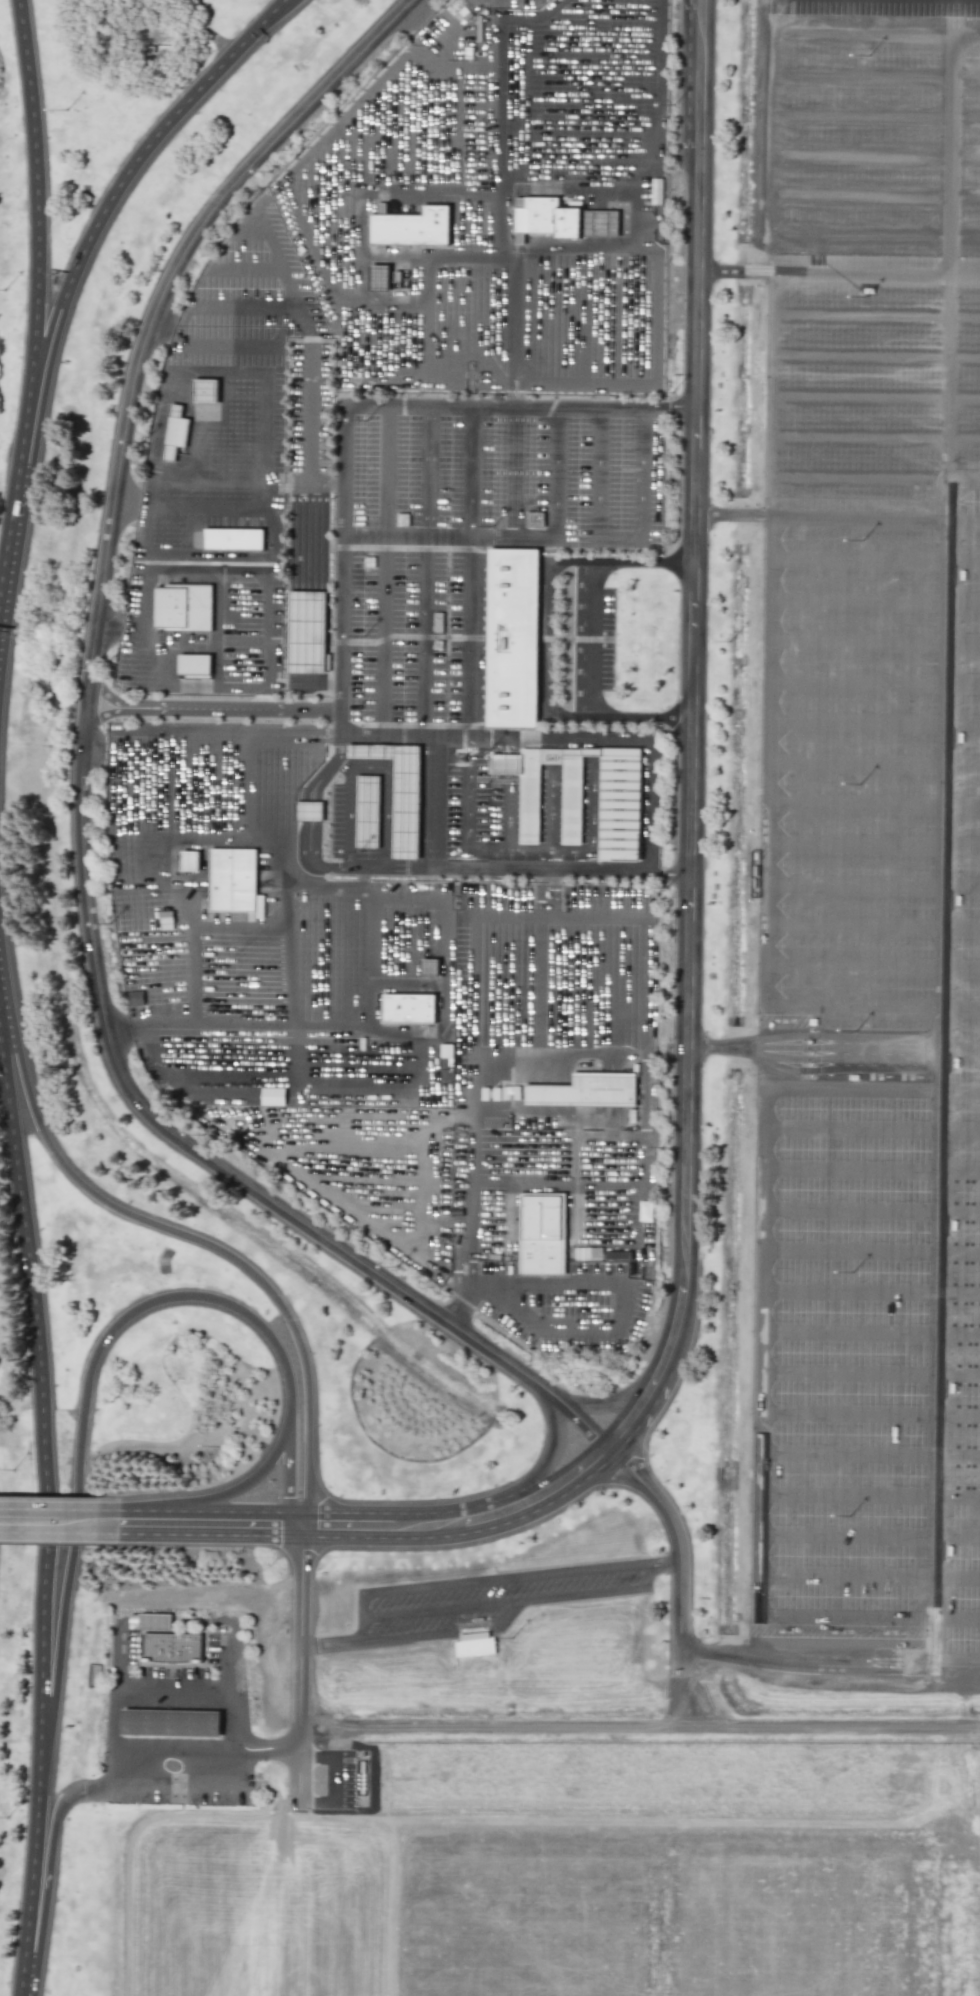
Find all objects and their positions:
road: (694, 5)
road: (696, 5)
road: (503, 8)
road: (416, 14)
road: (952, 19)
road: (870, 37)
road: (215, 41)
road: (870, 73)
road: (870, 113)
road: (595, 139)
road: (869, 154)
road: (950, 158)
road: (132, 167)
road: (649, 181)
road: (696, 182)
road: (35, 185)
road: (500, 190)
road: (869, 195)
road: (758, 210)
building: (561, 219)
building: (412, 226)
road: (360, 236)
road: (965, 238)
road: (429, 260)
road: (733, 273)
road: (860, 275)
building: (379, 277)
road: (964, 277)
road: (875, 319)
road: (161, 330)
road: (875, 355)
road: (222, 375)
road: (948, 380)
building: (205, 391)
road: (875, 398)
road: (368, 403)
building: (174, 432)
road: (874, 438)
road: (266, 471)
road: (471, 472)
road: (305, 481)
road: (874, 481)
road: (126, 506)
road: (730, 516)
road: (308, 517)
building: (534, 519)
road: (874, 519)
road: (18, 529)
road: (618, 537)
road: (515, 538)
building: (239, 545)
road: (149, 556)
road: (874, 560)
road: (383, 570)
road: (427, 571)
road: (873, 600)
building: (190, 612)
road: (108, 628)
building: (306, 632)
road: (469, 638)
road: (275, 639)
building: (512, 639)
road: (544, 640)
road: (590, 640)
road: (873, 640)
road: (766, 641)
road: (169, 642)
building: (200, 672)
road: (872, 682)
road: (106, 698)
road: (233, 711)
road: (872, 724)
road: (206, 733)
road: (480, 738)
road: (93, 751)
road: (872, 758)
road: (80, 763)
road: (326, 769)
road: (246, 782)
road: (307, 788)
building: (399, 793)
road: (468, 803)
road: (872, 804)
road: (648, 805)
building: (618, 809)
road: (304, 811)
building: (309, 811)
road: (315, 811)
building: (366, 811)
road: (688, 819)
road: (134, 823)
road: (591, 831)
parking lot: (869, 831)
road: (305, 835)
road: (871, 846)
road: (509, 851)
building: (189, 860)
road: (311, 860)
road: (355, 867)
road: (492, 868)
road: (425, 883)
road: (871, 884)
road: (293, 885)
building: (238, 886)
road: (196, 921)
road: (871, 925)
road: (243, 926)
road: (445, 933)
road: (288, 954)
road: (871, 964)
building: (429, 967)
building: (133, 997)
airport: (490, 998)
building: (408, 1008)
road: (643, 1010)
road: (871, 1010)
road: (321, 1025)
road: (118, 1034)
road: (539, 1036)
road: (404, 1039)
road: (959, 1053)
toll booth: (809, 1056)
road: (812, 1056)
road: (939, 1069)
road: (470, 1074)
building: (586, 1090)
road: (851, 1091)
building: (510, 1092)
road: (959, 1092)
building: (271, 1095)
road: (392, 1114)
road: (871, 1132)
road: (871, 1167)
road: (870, 1210)
road: (166, 1229)
building: (629, 1229)
building: (546, 1239)
building: (643, 1250)
building: (587, 1253)
road: (870, 1253)
road: (870, 1290)
road: (193, 1298)
road: (455, 1315)
road: (625, 1317)
road: (678, 1328)
road: (869, 1331)
road: (760, 1354)
road: (869, 1371)
road: (41, 1394)
road: (616, 1402)
road: (639, 1411)
road: (870, 1413)
road: (869, 1457)
road: (541, 1467)
road: (287, 1471)
road: (247, 1485)
road: (869, 1494)
road: (657, 1499)
road: (464, 1522)
road: (60, 1523)
road: (210, 1524)
road: (868, 1537)
road: (66, 1573)
road: (868, 1579)
road: (498, 1582)
road: (515, 1603)
parking lot: (476, 1604)
road: (680, 1604)
road: (869, 1619)
building: (155, 1623)
road: (415, 1638)
building: (474, 1647)
building: (172, 1649)
road: (954, 1660)
railway: (457, 1663)
road: (806, 1663)
road: (300, 1665)
parking lot: (176, 1669)
road: (683, 1687)
road: (174, 1697)
road: (137, 1702)
road: (159, 1702)
road: (184, 1703)
road: (203, 1703)
road: (116, 1714)
road: (136, 1723)
road: (158, 1724)
building: (170, 1724)
gas station: (170, 1724)
road: (183, 1725)
road: (202, 1725)
road: (669, 1729)
road: (136, 1745)
road: (157, 1745)
road: (181, 1745)
road: (202, 1746)
road: (206, 1751)
road: (238, 1781)
road: (342, 1783)
road: (32, 1868)
road: (48, 1872)

